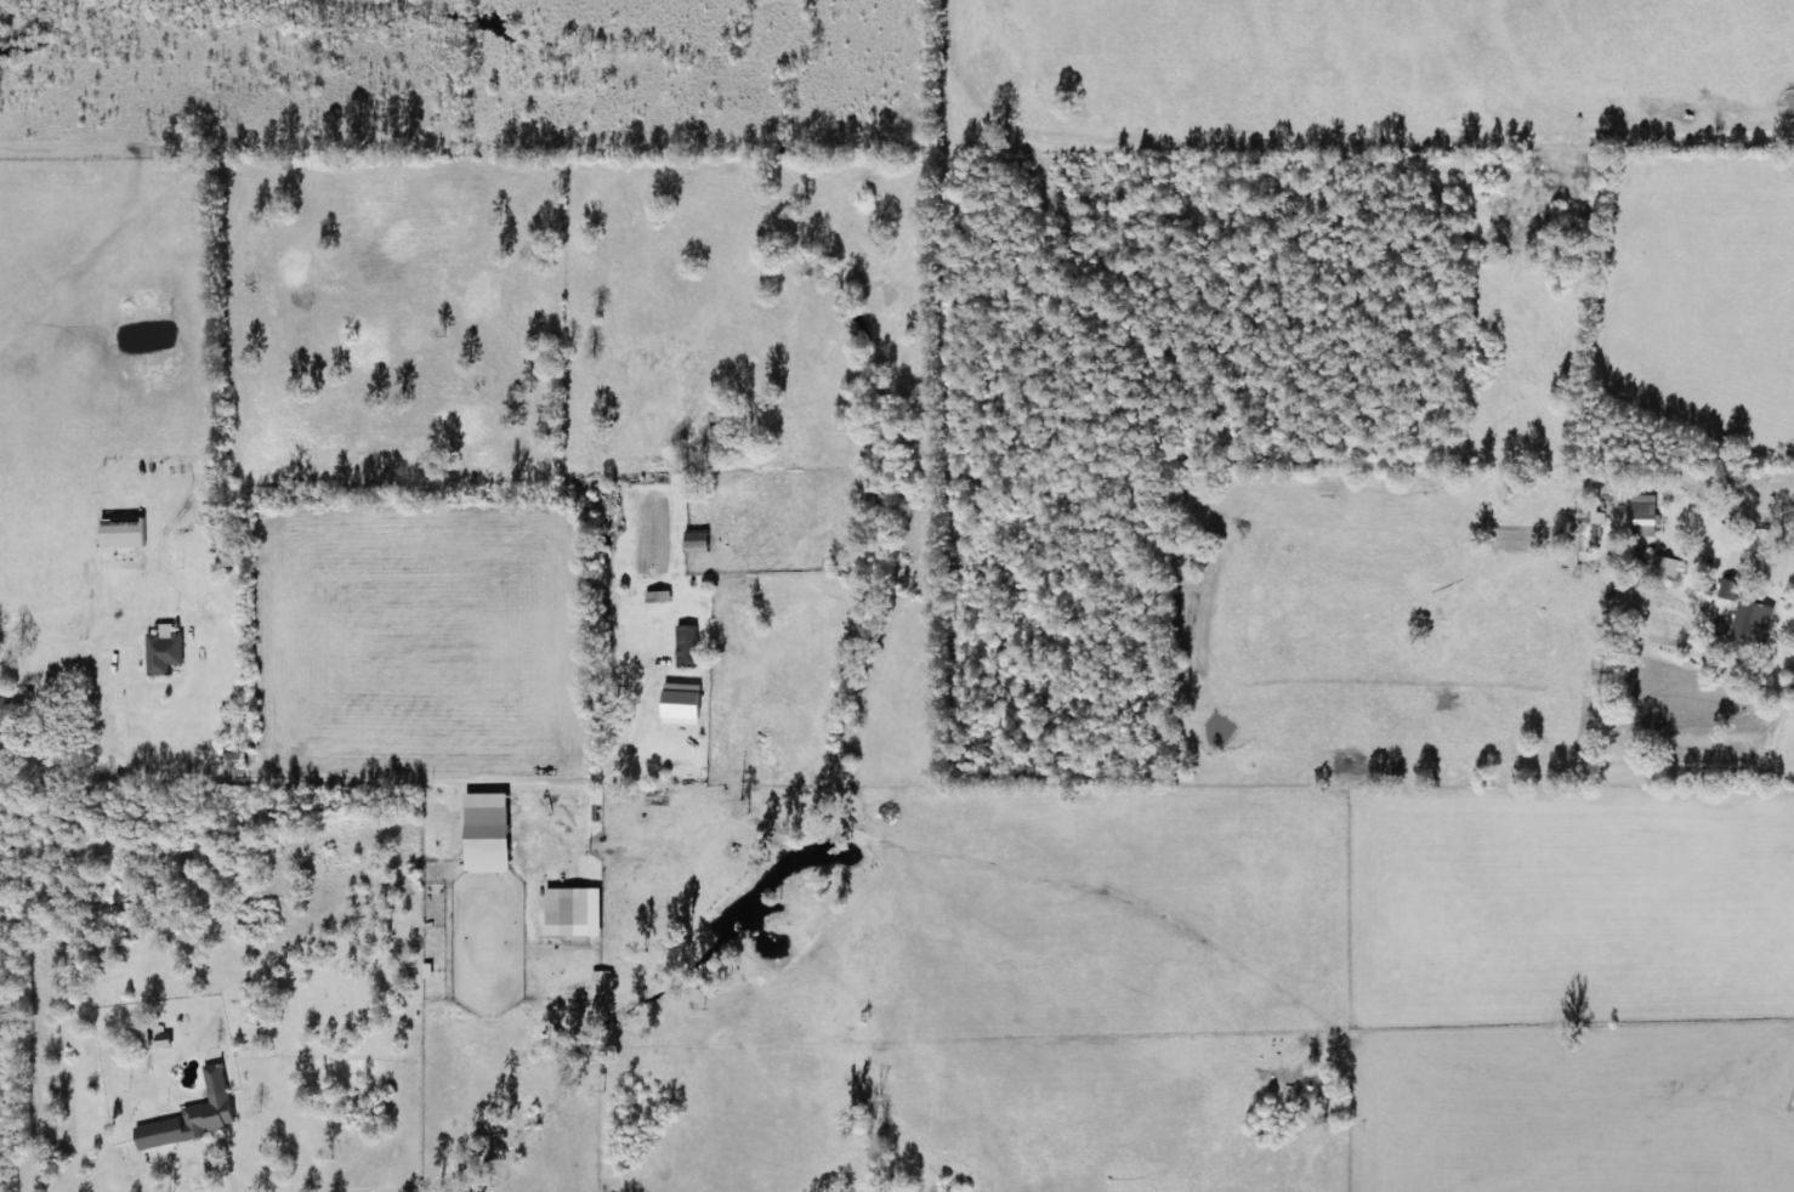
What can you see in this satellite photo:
building: (1642, 515)
building: (127, 532)
building: (662, 595)
building: (1755, 621)
building: (691, 645)
building: (168, 649)
building: (11, 708)
building: (493, 838)
building: (578, 910)
building: (600, 975)
road: (11, 995)
building: (198, 1114)

